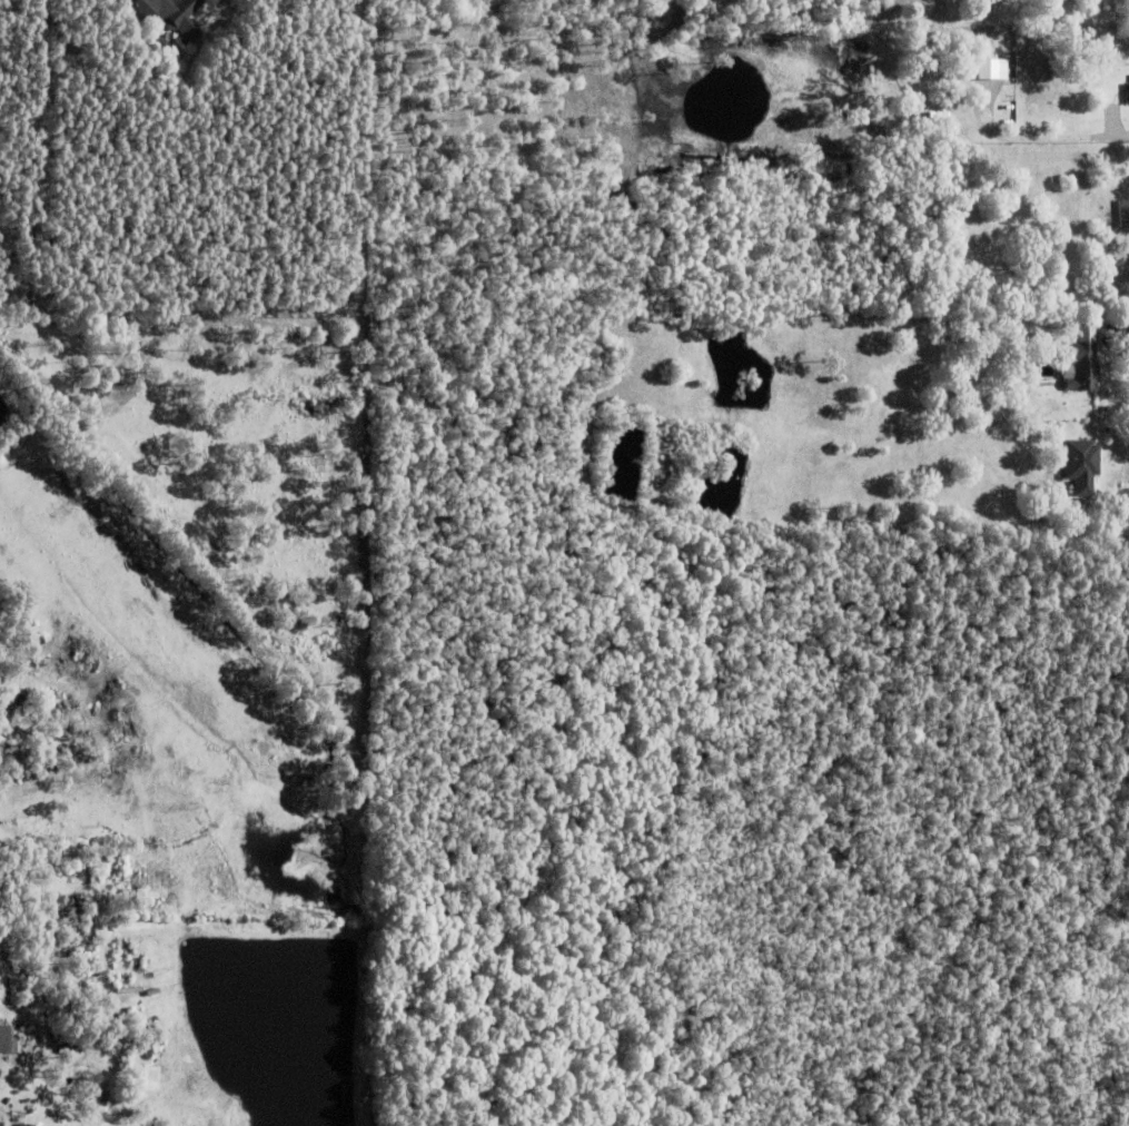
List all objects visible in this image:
building: (175, 14)
building: (984, 68)
building: (1103, 78)
building: (1125, 92)
road: (1123, 139)
building: (1123, 211)
road: (1110, 324)
building: (1049, 326)
building: (1081, 365)
building: (1080, 464)
building: (67, 989)
building: (69, 1038)
building: (4, 1040)
building: (17, 1047)
building: (27, 1048)

